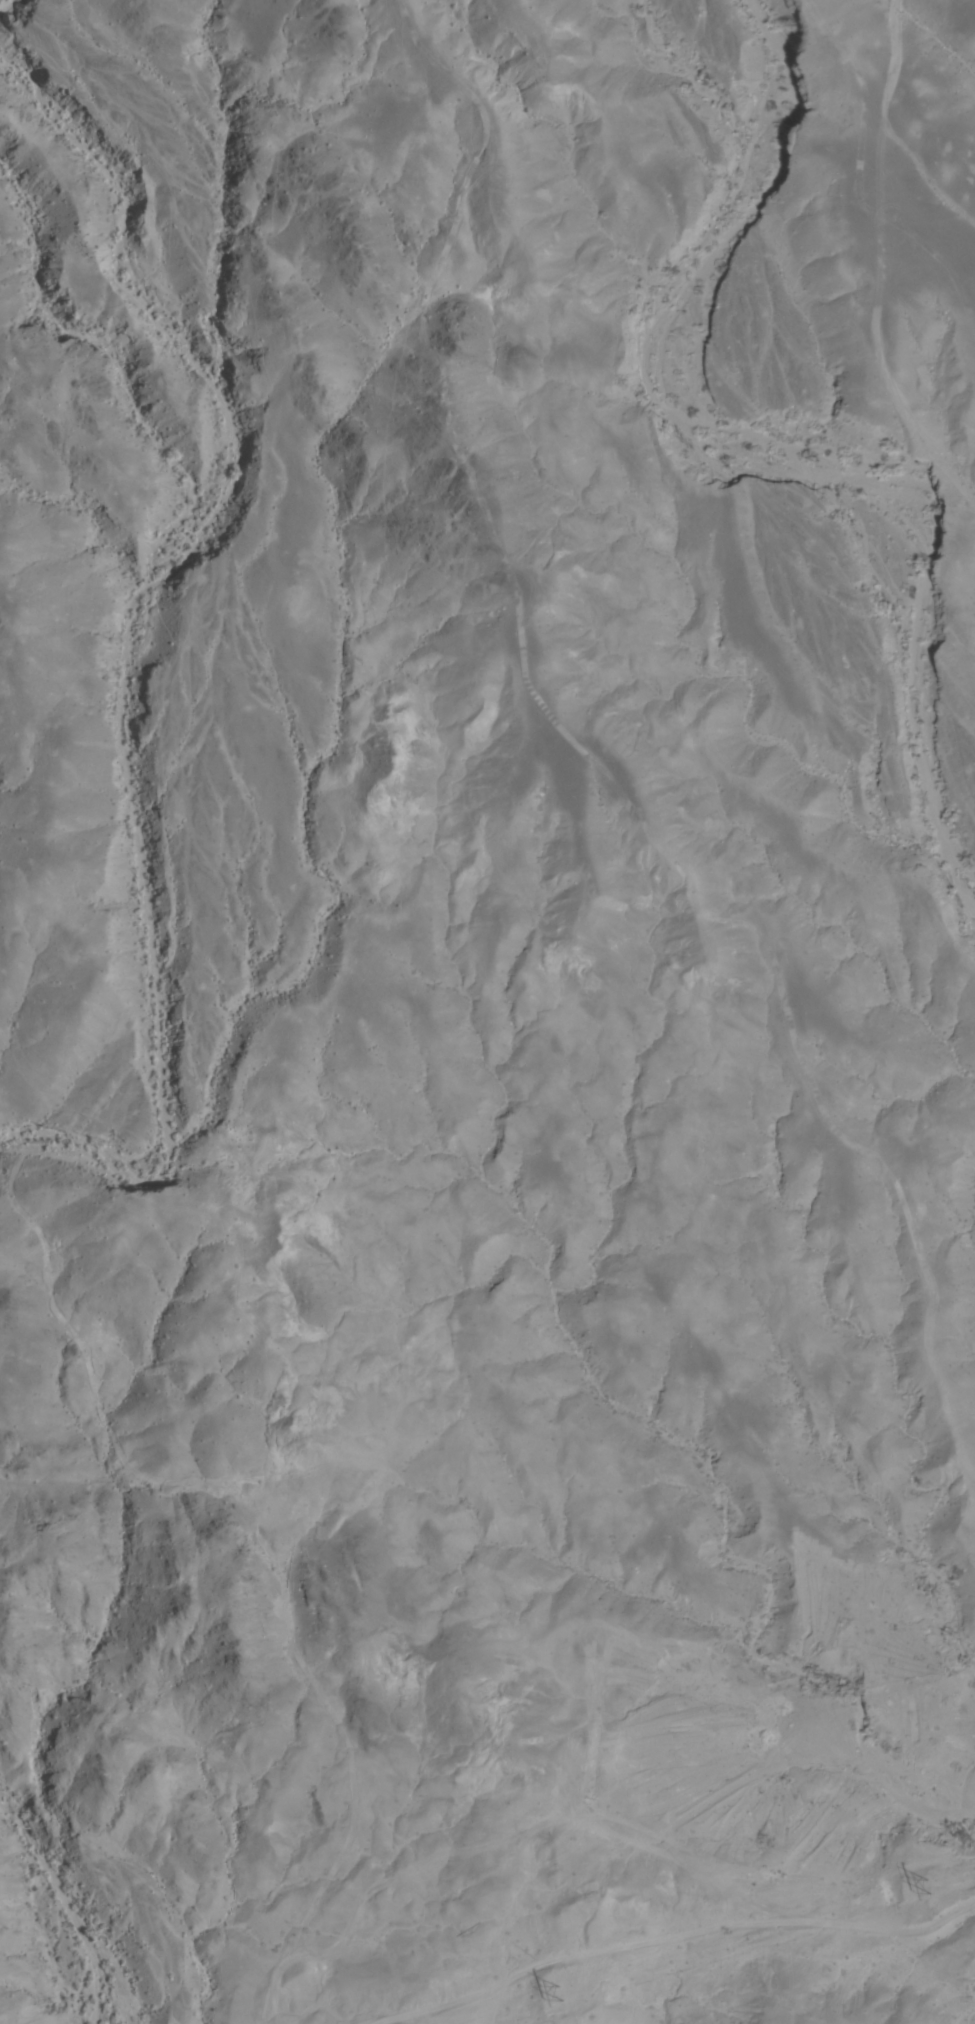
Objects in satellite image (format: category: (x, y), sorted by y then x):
power tower: (941, 1886)
power tower: (566, 1993)

